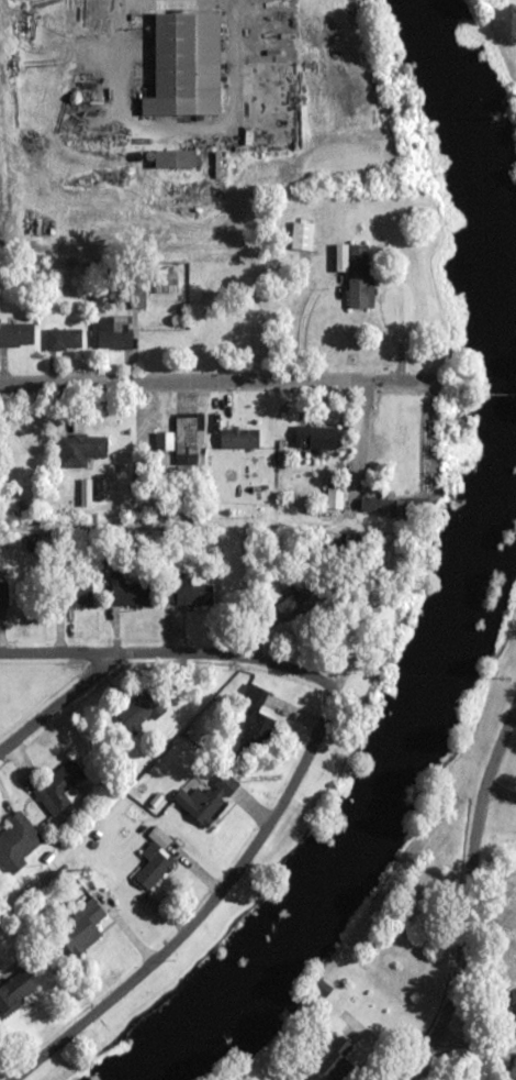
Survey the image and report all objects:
building: (186, 65)
building: (176, 158)
building: (302, 241)
building: (356, 272)
building: (114, 332)
building: (16, 334)
building: (64, 339)
road: (211, 381)
building: (316, 437)
building: (164, 440)
building: (187, 440)
building: (19, 448)
building: (81, 448)
building: (335, 497)
building: (377, 504)
building: (412, 506)
river: (452, 583)
building: (128, 592)
building: (189, 593)
building: (3, 594)
building: (74, 594)
building: (301, 602)
road: (357, 631)
road: (126, 652)
road: (59, 704)
building: (139, 713)
building: (254, 713)
building: (60, 786)
building: (207, 797)
building: (18, 840)
building: (155, 866)
road: (231, 877)
road: (473, 903)
building: (80, 927)
building: (7, 999)
building: (514, 1010)
building: (334, 1059)

